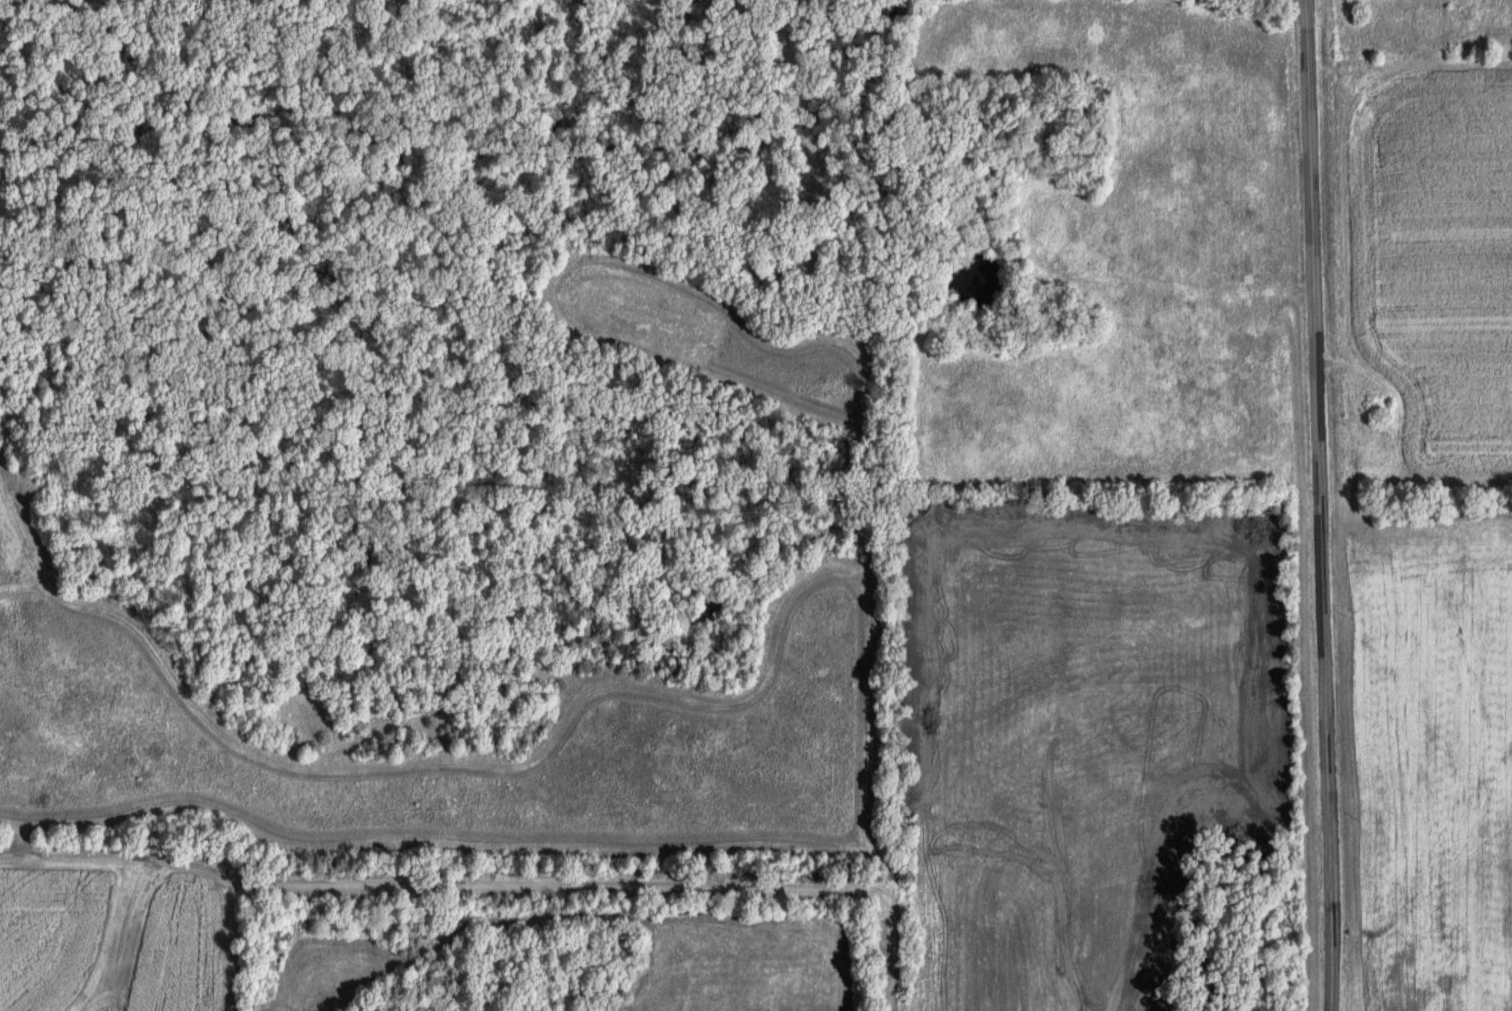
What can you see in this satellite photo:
road: (1319, 505)

